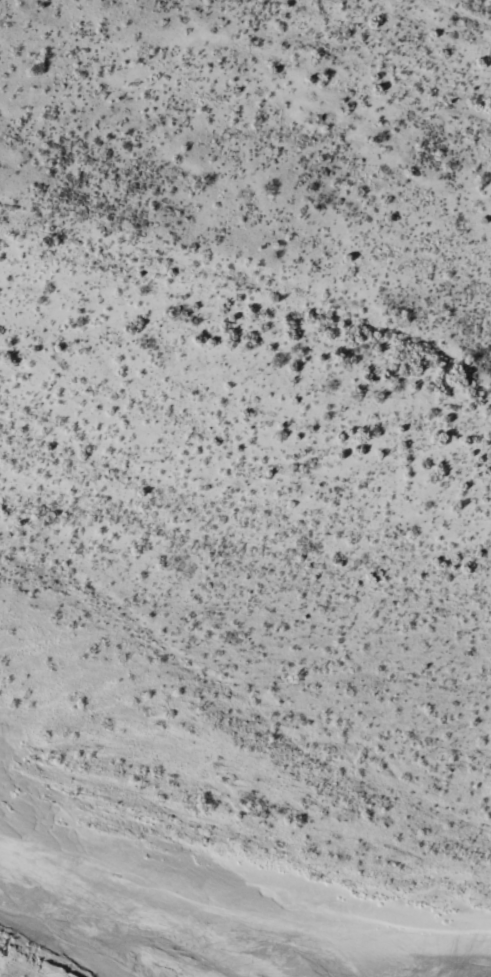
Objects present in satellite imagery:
river: (116, 943)

